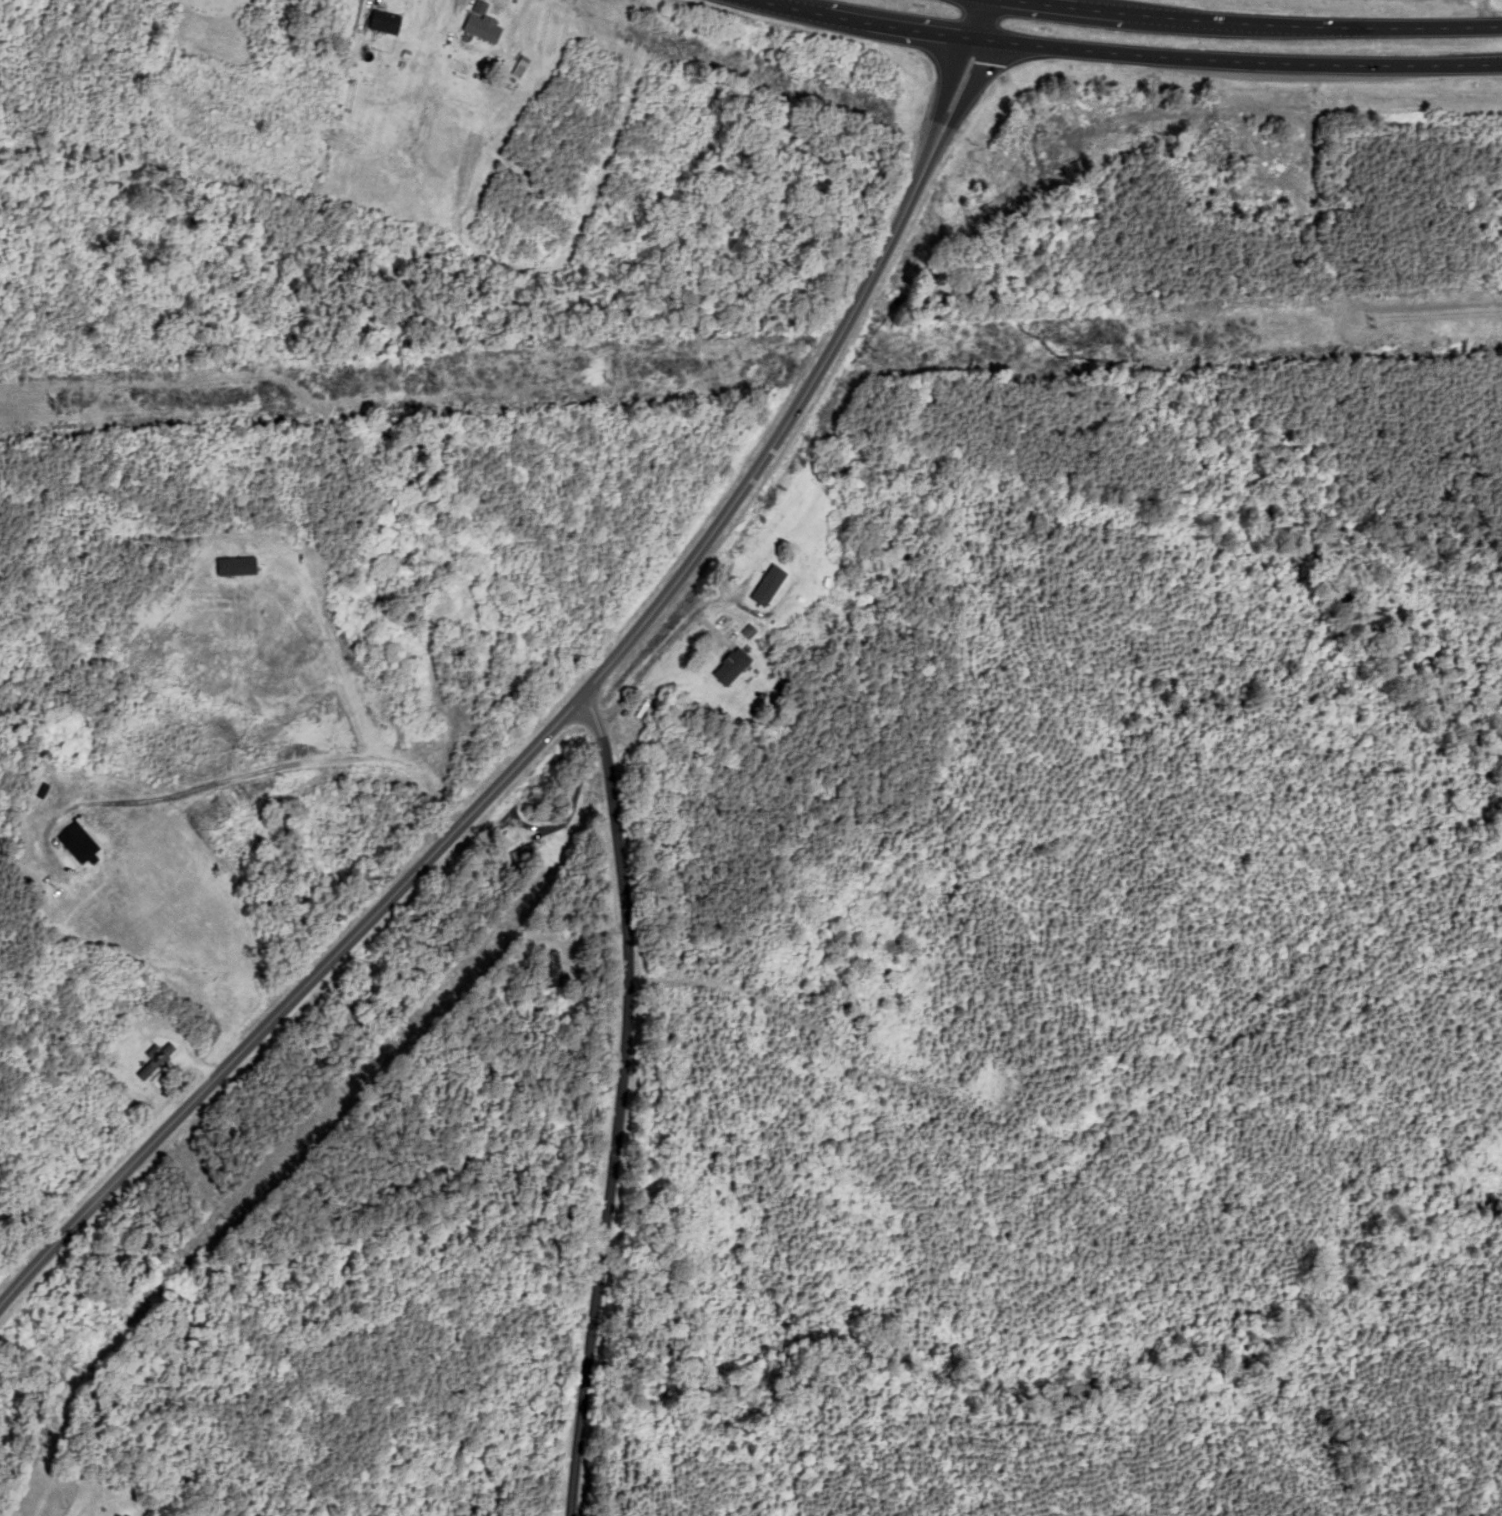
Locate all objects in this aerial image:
road: (1253, 23)
building: (383, 24)
building: (480, 29)
road: (1126, 54)
building: (836, 495)
building: (765, 587)
building: (730, 667)
road: (570, 707)
building: (525, 854)
building: (153, 1060)
road: (616, 1099)

